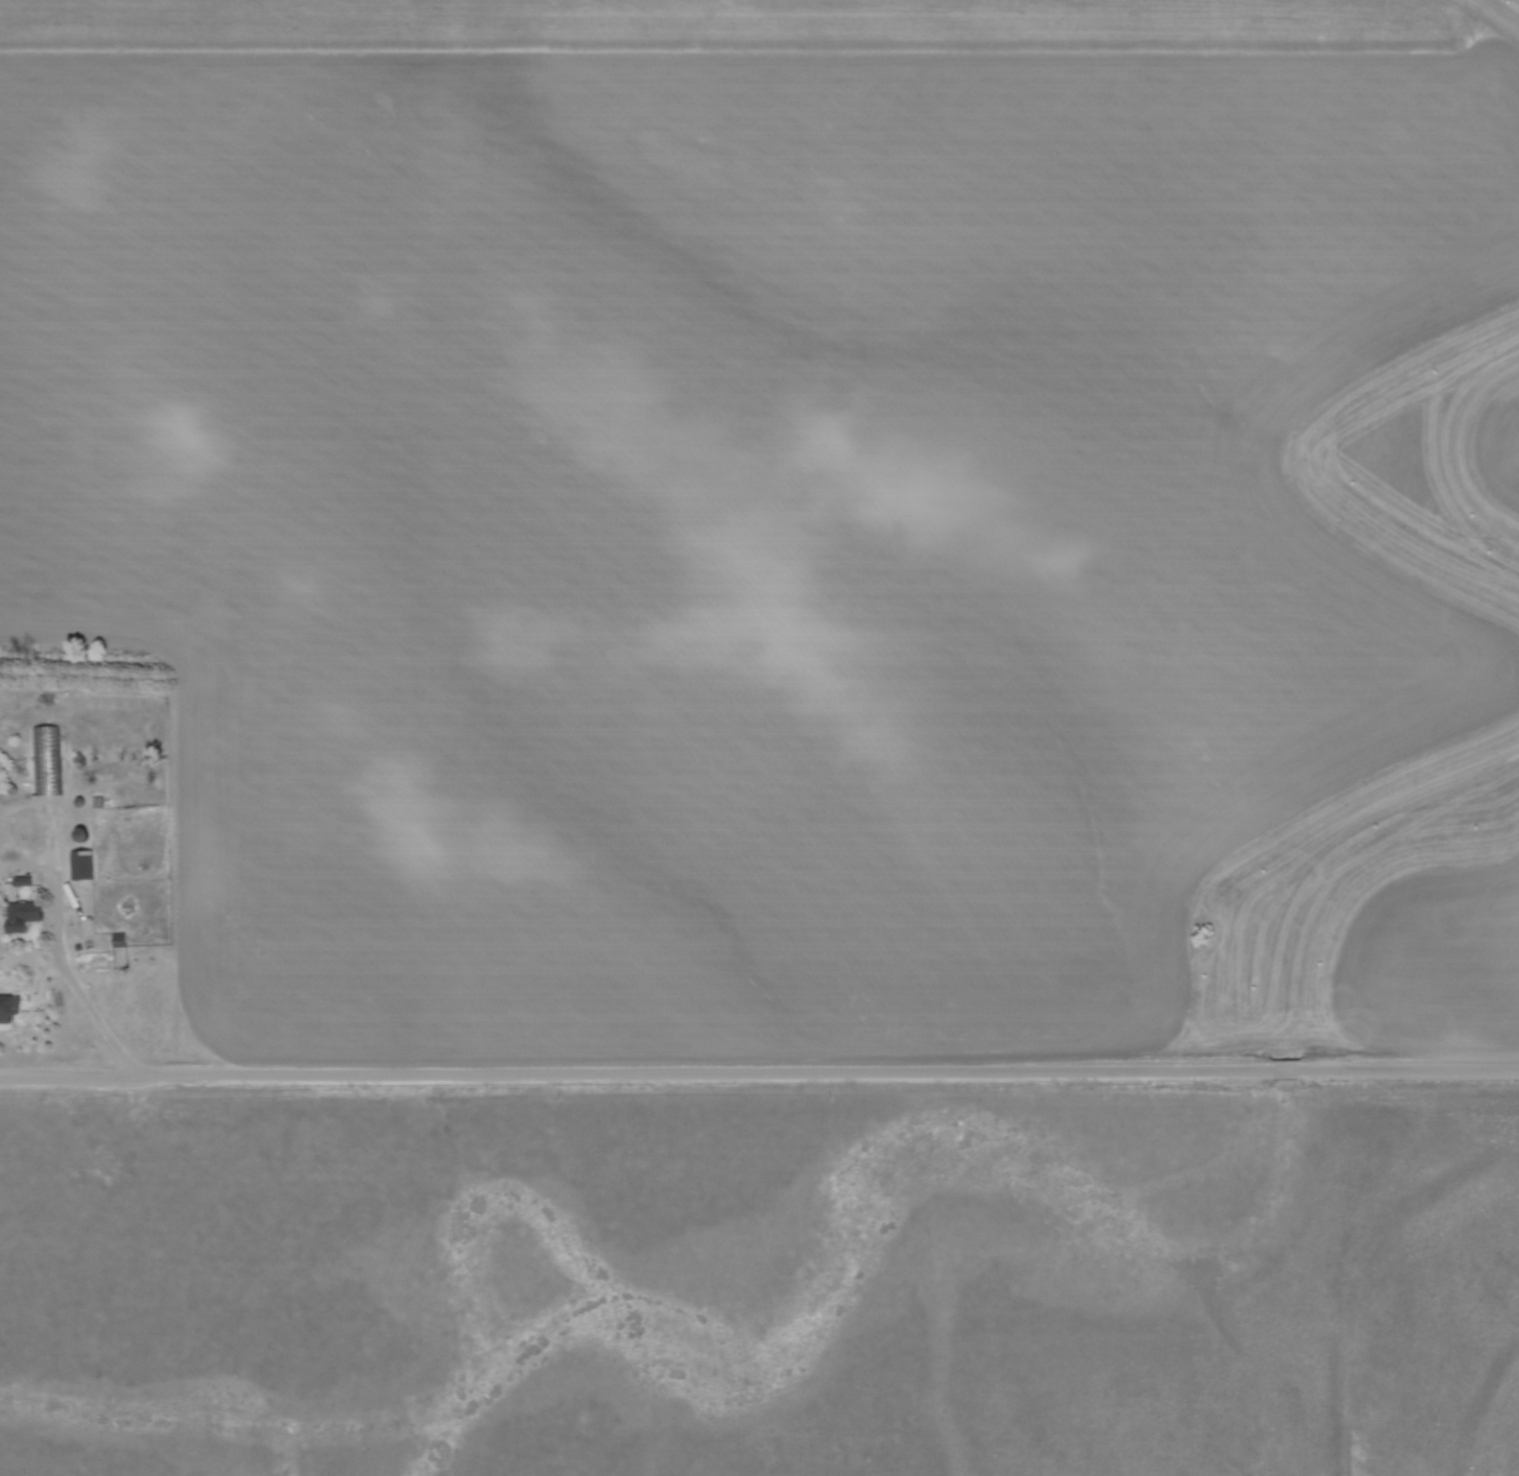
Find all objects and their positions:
crop: (1497, 444)
crop: (728, 489)
building: (46, 759)
silo: (14, 788)
building: (99, 800)
silo: (81, 802)
silo: (81, 834)
building: (82, 863)
building: (24, 880)
building: (22, 915)
building: (119, 939)
road: (59, 950)
crop: (1433, 965)
building: (9, 1006)
road: (759, 1073)

